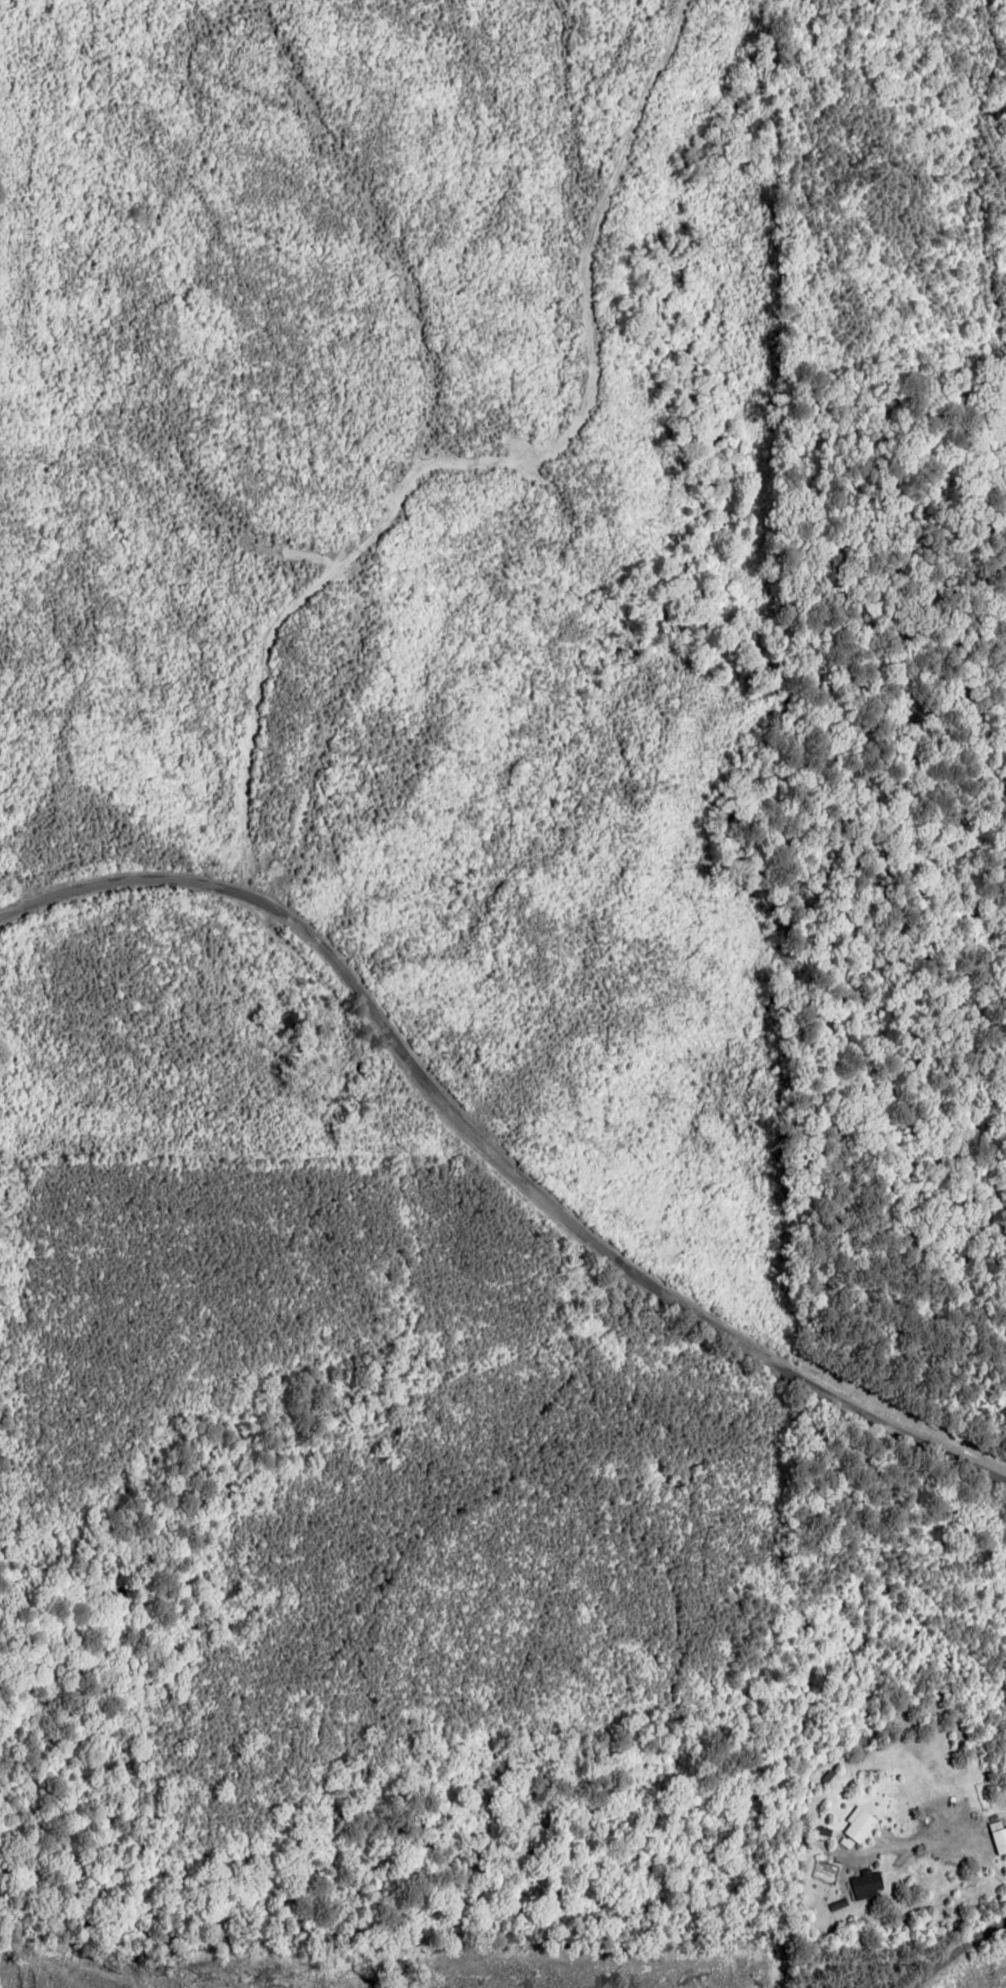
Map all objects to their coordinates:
road: (489, 1175)
building: (860, 1823)
building: (999, 1835)
building: (868, 1884)
building: (838, 1903)
road: (953, 1948)

